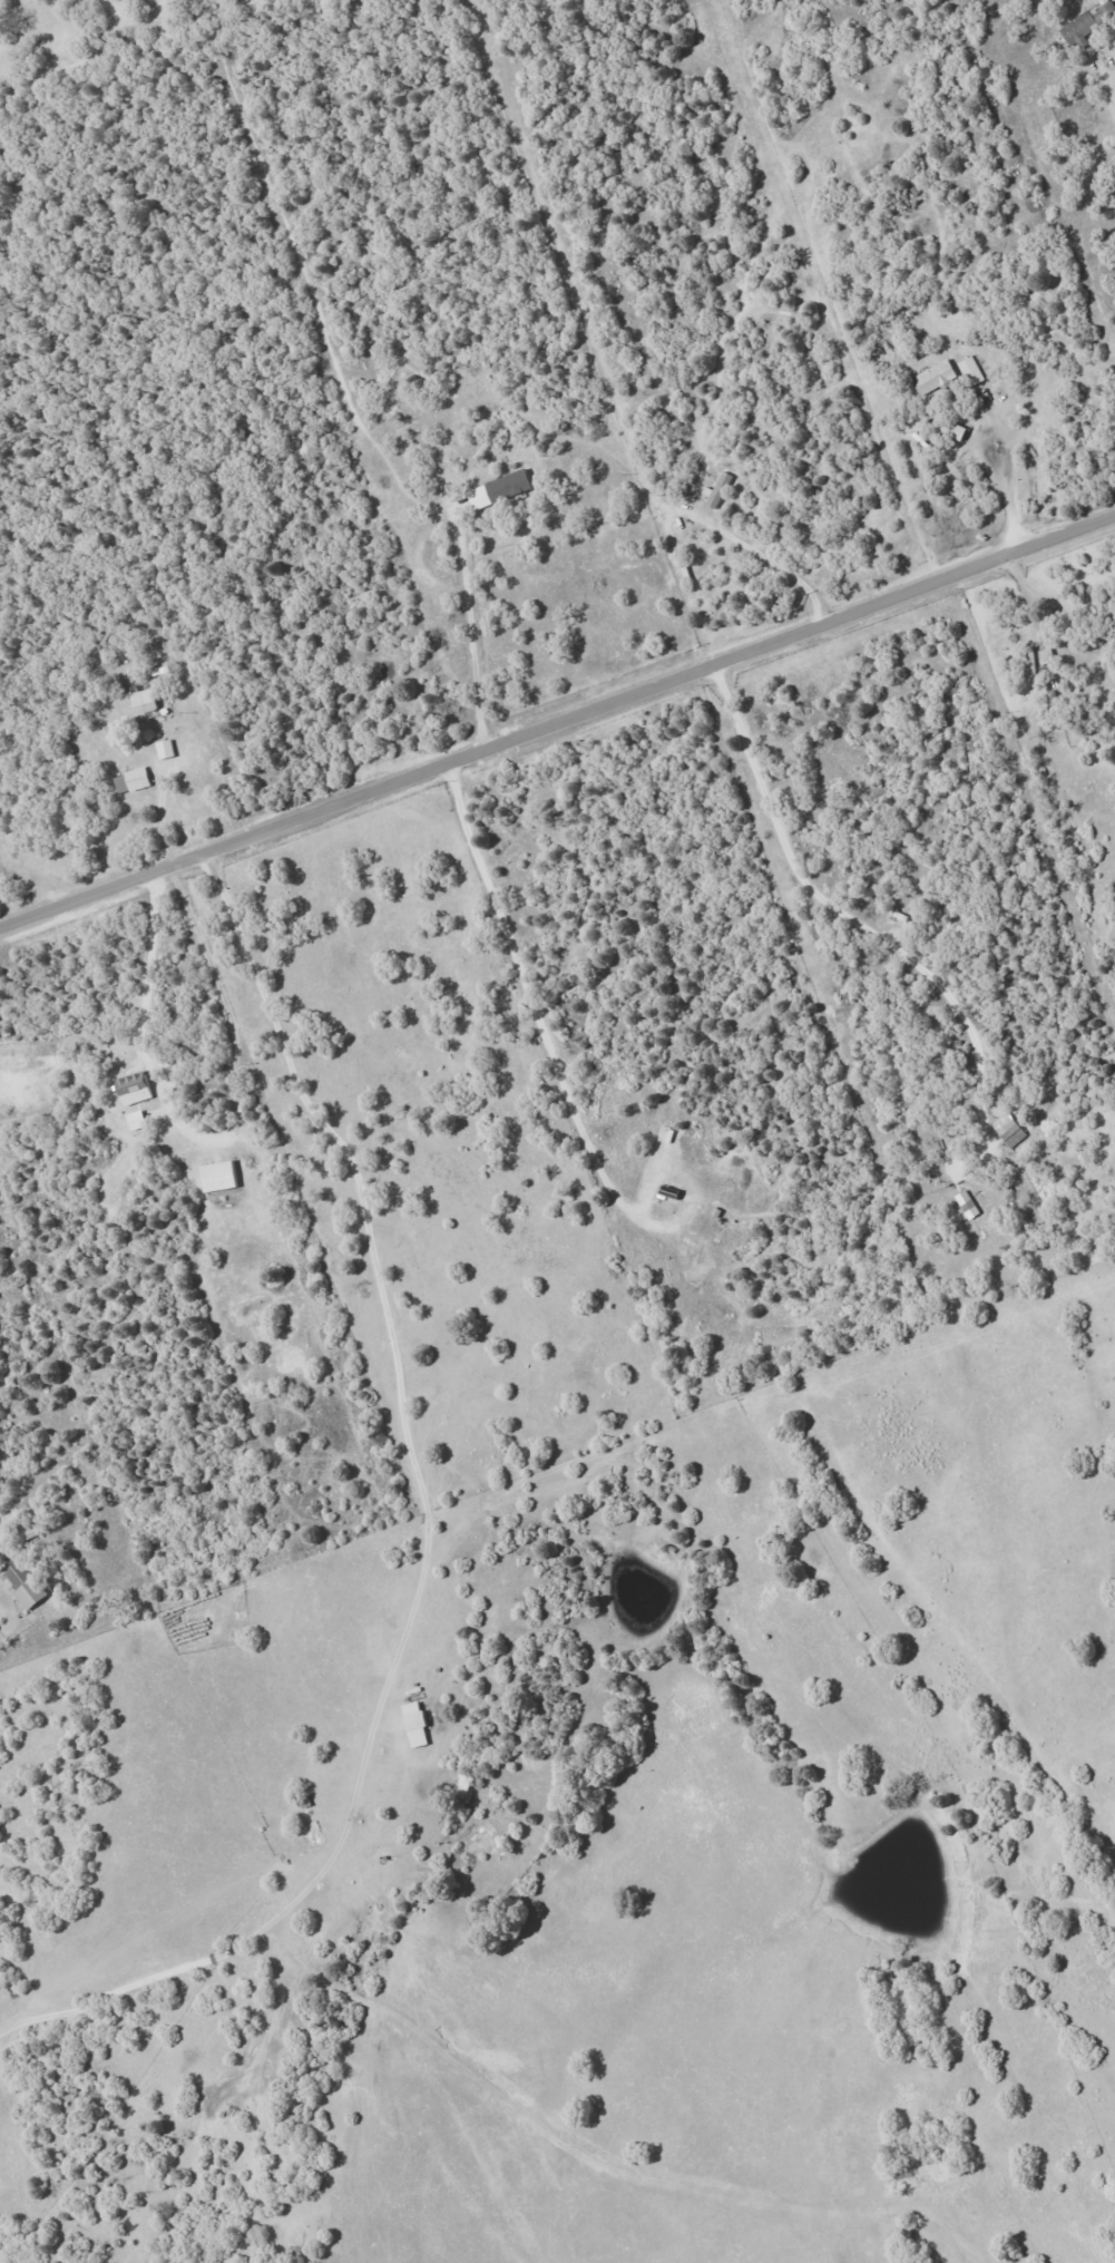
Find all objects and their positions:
building: (1086, 23)
road: (1107, 97)
building: (970, 371)
building: (932, 377)
road: (982, 466)
road: (1007, 475)
building: (497, 489)
building: (717, 491)
road: (781, 570)
road: (470, 646)
road: (988, 684)
building: (136, 705)
road: (557, 722)
building: (163, 749)
building: (129, 781)
road: (4, 947)
road: (144, 1018)
building: (130, 1089)
building: (134, 1120)
building: (1007, 1130)
building: (215, 1177)
building: (966, 1204)
road: (423, 1535)
building: (21, 1583)
building: (413, 1726)
road: (542, 2234)

